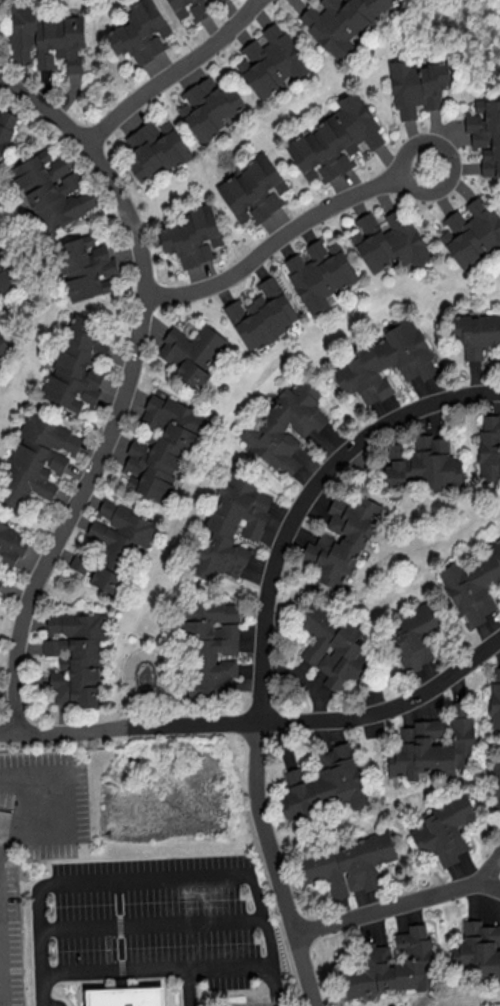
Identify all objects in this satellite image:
building: (216, 1)
building: (188, 8)
building: (341, 22)
building: (140, 32)
building: (46, 38)
building: (271, 61)
road: (170, 71)
building: (417, 86)
building: (208, 107)
building: (5, 127)
building: (485, 134)
building: (335, 139)
building: (155, 149)
building: (51, 189)
building: (253, 189)
road: (284, 230)
building: (472, 234)
building: (193, 236)
building: (388, 240)
building: (3, 250)
building: (86, 266)
building: (319, 273)
building: (4, 279)
building: (262, 314)
building: (475, 333)
building: (2, 347)
building: (191, 352)
building: (386, 361)
building: (76, 366)
road: (125, 386)
building: (285, 423)
building: (161, 446)
building: (489, 448)
building: (37, 459)
building: (424, 464)
building: (288, 467)
building: (231, 527)
building: (342, 539)
building: (113, 541)
building: (11, 544)
building: (1, 579)
building: (473, 584)
road: (262, 619)
building: (415, 635)
building: (211, 645)
building: (334, 648)
building: (75, 655)
building: (495, 706)
road: (130, 722)
building: (432, 748)
building: (325, 784)
road: (60, 813)
building: (444, 829)
parking lot: (34, 839)
building: (348, 864)
road: (277, 865)
road: (148, 878)
road: (398, 905)
road: (151, 923)
parking lot: (155, 923)
road: (269, 938)
road: (39, 941)
building: (477, 950)
building: (392, 966)
road: (156, 969)
road: (1, 984)
road: (186, 987)
building: (128, 996)
road: (49, 1005)

